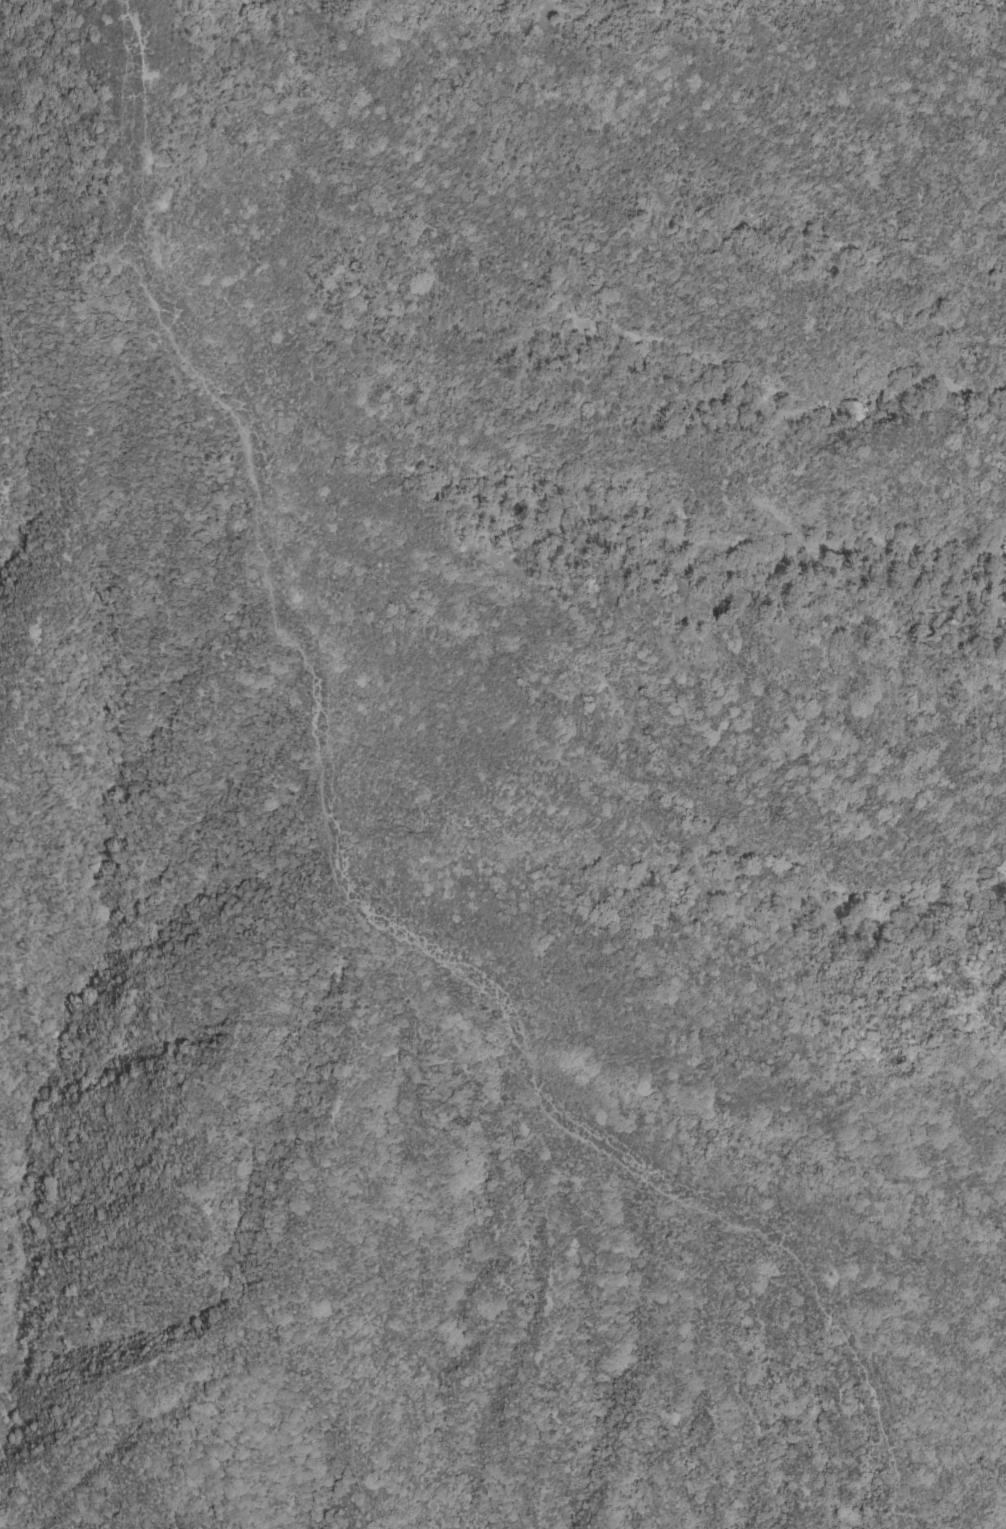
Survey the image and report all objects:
road: (134, 27)
road: (358, 889)

